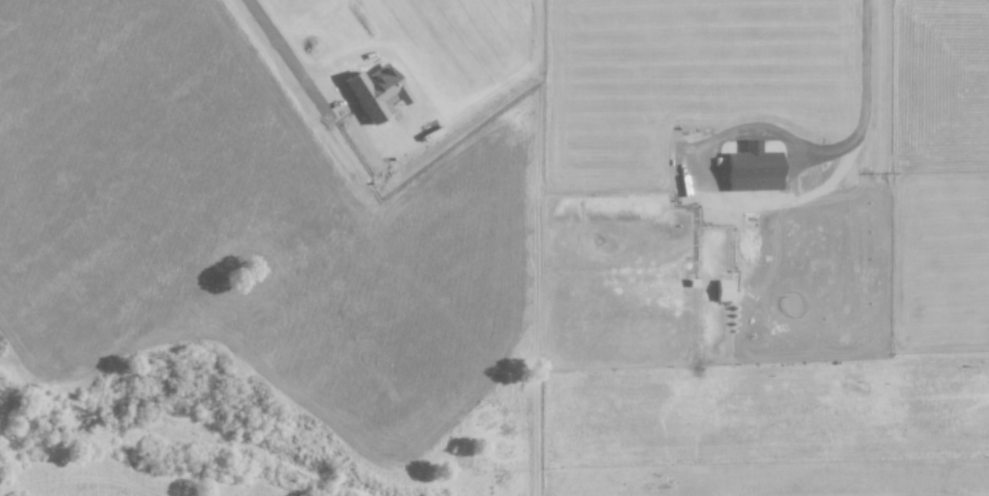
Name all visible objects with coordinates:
road: (864, 97)
building: (752, 168)
building: (722, 289)

